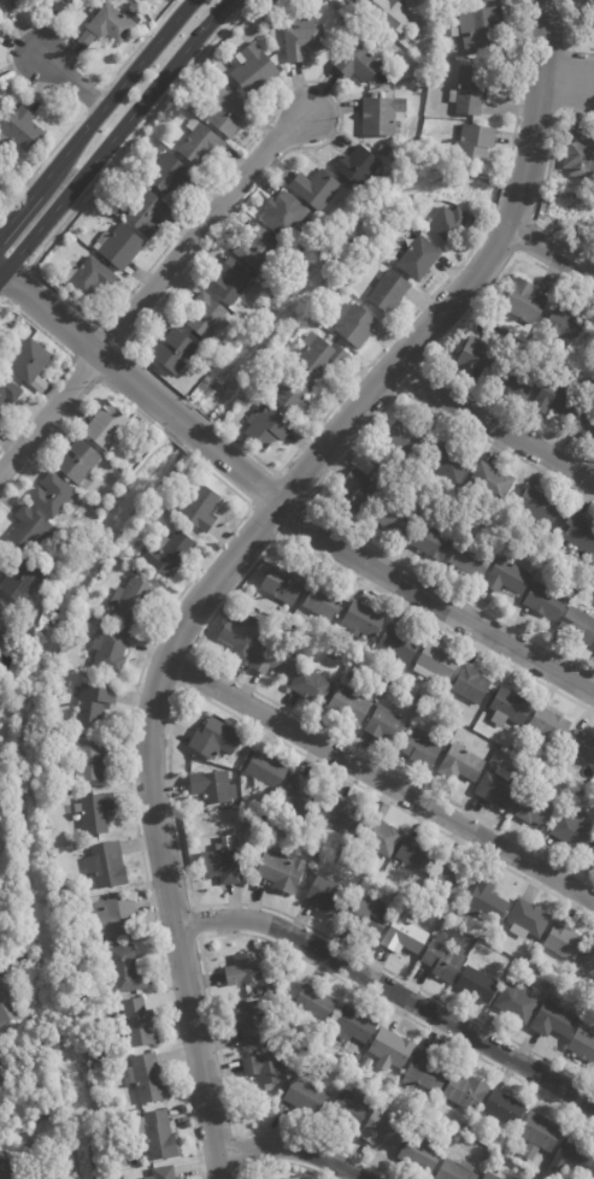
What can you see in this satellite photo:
building: (113, 0)
building: (481, 0)
building: (65, 2)
building: (445, 2)
building: (339, 4)
building: (7, 5)
road: (228, 7)
building: (388, 10)
building: (590, 16)
building: (110, 25)
building: (481, 26)
road: (565, 35)
building: (302, 36)
building: (86, 40)
road: (8, 41)
building: (360, 59)
building: (252, 67)
road: (564, 77)
road: (567, 78)
road: (70, 81)
building: (470, 89)
road: (518, 90)
road: (539, 92)
road: (92, 98)
building: (200, 108)
building: (230, 112)
building: (382, 114)
road: (96, 116)
building: (20, 131)
road: (553, 132)
road: (114, 136)
road: (331, 137)
building: (475, 142)
building: (199, 143)
building: (160, 147)
building: (578, 157)
building: (358, 165)
building: (170, 173)
building: (316, 188)
road: (500, 193)
road: (518, 198)
road: (536, 205)
building: (146, 212)
building: (286, 214)
building: (448, 220)
road: (511, 220)
road: (198, 230)
road: (523, 237)
building: (118, 246)
building: (258, 248)
road: (551, 250)
building: (417, 257)
road: (24, 269)
building: (88, 277)
building: (233, 281)
building: (349, 282)
building: (335, 289)
building: (388, 290)
building: (524, 301)
building: (206, 314)
building: (561, 320)
building: (354, 324)
road: (99, 325)
building: (186, 349)
building: (219, 350)
road: (431, 352)
building: (320, 354)
building: (475, 354)
building: (28, 360)
road: (419, 364)
road: (64, 369)
building: (513, 382)
building: (39, 384)
building: (7, 393)
building: (295, 393)
building: (554, 399)
road: (48, 413)
building: (584, 423)
road: (492, 425)
building: (106, 426)
building: (266, 426)
building: (404, 438)
building: (78, 462)
building: (446, 462)
building: (361, 464)
building: (490, 482)
road: (317, 488)
building: (359, 489)
building: (54, 496)
road: (280, 507)
building: (418, 507)
building: (539, 507)
building: (200, 508)
building: (395, 518)
building: (30, 529)
building: (580, 531)
road: (281, 532)
building: (543, 535)
building: (430, 542)
building: (167, 553)
building: (470, 559)
building: (507, 577)
building: (20, 580)
building: (284, 584)
building: (322, 601)
building: (545, 601)
building: (130, 603)
building: (101, 613)
building: (363, 620)
building: (6, 623)
building: (578, 625)
road: (201, 632)
building: (242, 635)
building: (399, 643)
road: (170, 648)
building: (108, 650)
road: (187, 655)
road: (145, 658)
building: (275, 659)
building: (435, 661)
building: (320, 671)
building: (12, 682)
building: (380, 684)
building: (471, 684)
building: (310, 685)
building: (424, 694)
building: (434, 697)
building: (93, 702)
building: (349, 706)
building: (508, 708)
building: (386, 724)
building: (548, 725)
building: (214, 742)
building: (581, 747)
building: (486, 749)
building: (420, 750)
building: (89, 761)
building: (460, 765)
building: (264, 773)
road: (380, 779)
road: (169, 783)
building: (213, 788)
building: (498, 789)
building: (301, 797)
building: (534, 808)
building: (95, 814)
building: (342, 814)
building: (0, 830)
building: (572, 830)
building: (377, 838)
building: (339, 853)
building: (417, 854)
building: (592, 855)
building: (222, 862)
building: (107, 865)
building: (280, 869)
building: (452, 878)
building: (60, 891)
building: (328, 897)
building: (486, 902)
building: (367, 918)
building: (111, 920)
building: (527, 920)
building: (66, 921)
road: (194, 921)
road: (236, 933)
building: (404, 936)
building: (75, 942)
building: (564, 942)
building: (442, 957)
building: (588, 967)
building: (246, 969)
building: (124, 971)
building: (546, 981)
building: (477, 985)
building: (271, 989)
road: (389, 990)
building: (260, 992)
building: (516, 1003)
building: (314, 1004)
building: (7, 1007)
building: (553, 1021)
building: (253, 1022)
building: (136, 1025)
building: (354, 1026)
building: (313, 1042)
building: (582, 1045)
building: (390, 1050)
building: (98, 1053)
building: (357, 1059)
building: (365, 1063)
building: (4, 1065)
building: (96, 1066)
building: (266, 1068)
building: (424, 1072)
building: (147, 1079)
building: (305, 1093)
building: (465, 1093)
building: (351, 1108)
building: (502, 1110)
building: (42, 1112)
building: (383, 1128)
building: (451, 1132)
building: (540, 1132)
building: (155, 1136)
road: (292, 1149)
building: (530, 1153)
building: (420, 1154)
building: (488, 1156)
building: (571, 1159)
building: (495, 1161)
road: (280, 1162)
building: (4, 1167)
road: (240, 1169)
building: (455, 1171)
building: (163, 1173)
building: (48, 1174)
building: (487, 1177)
building: (593, 1177)
building: (295, 1178)

